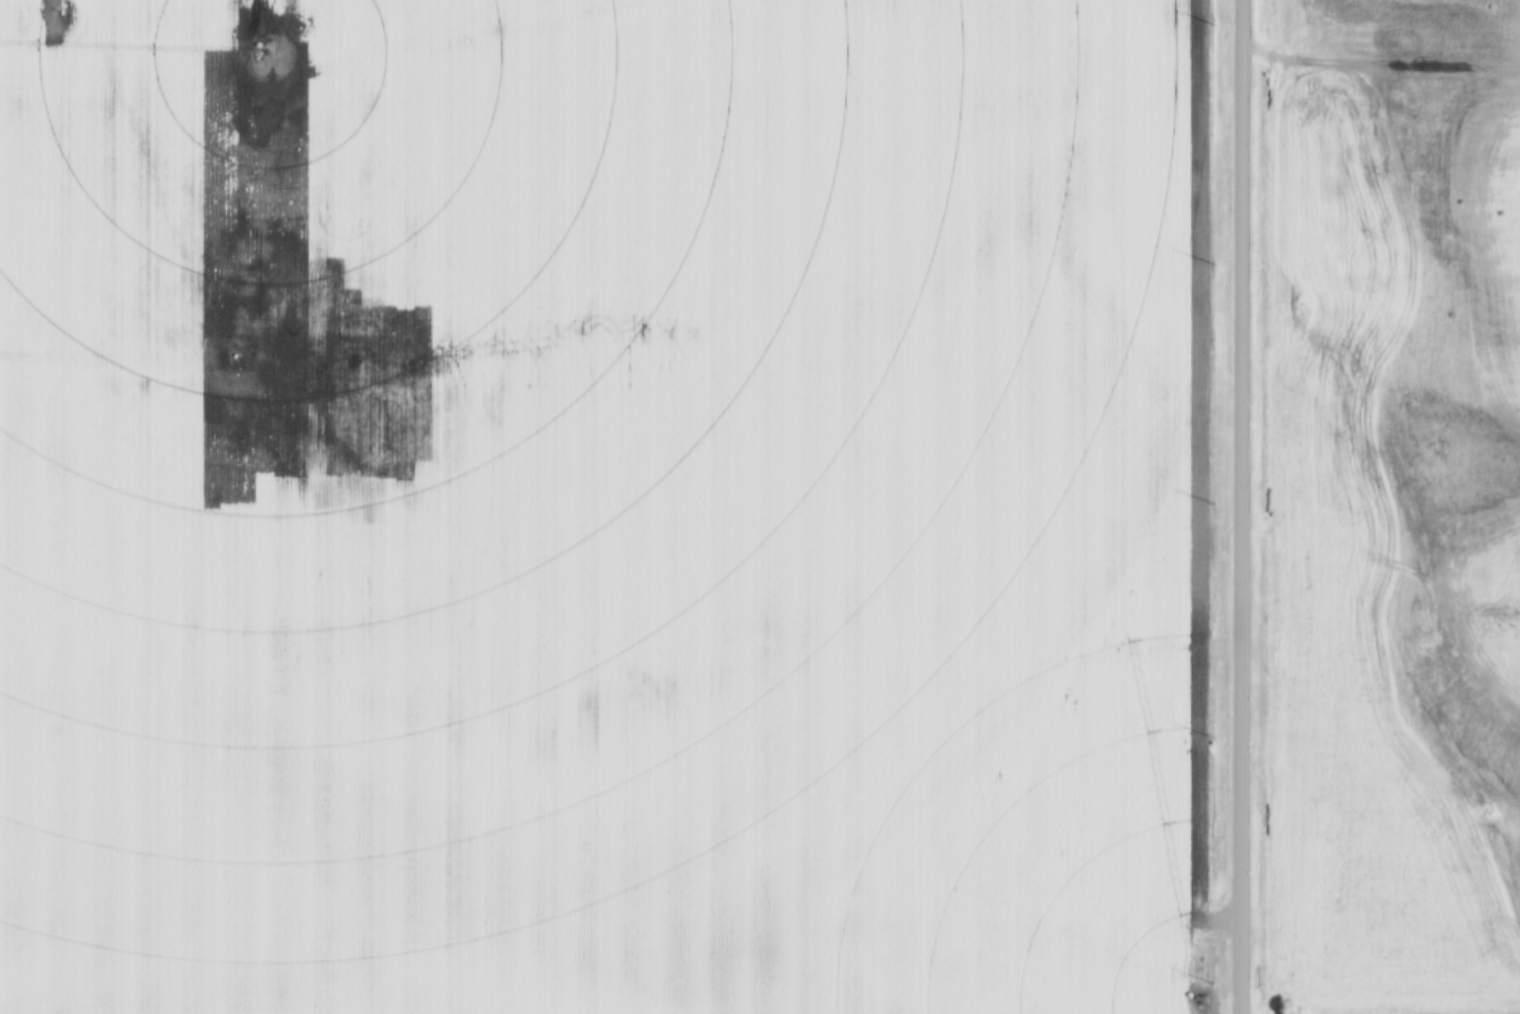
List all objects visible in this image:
road: (1244, 507)

